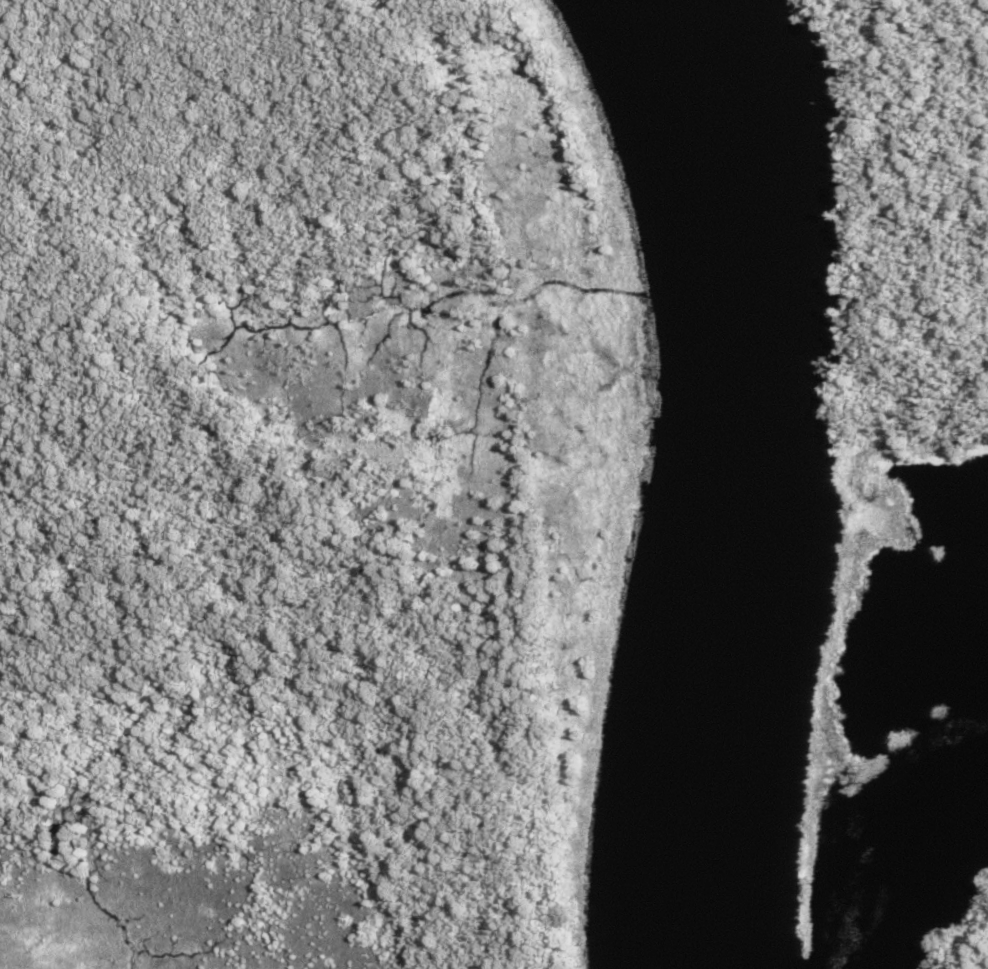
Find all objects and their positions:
river: (716, 481)

